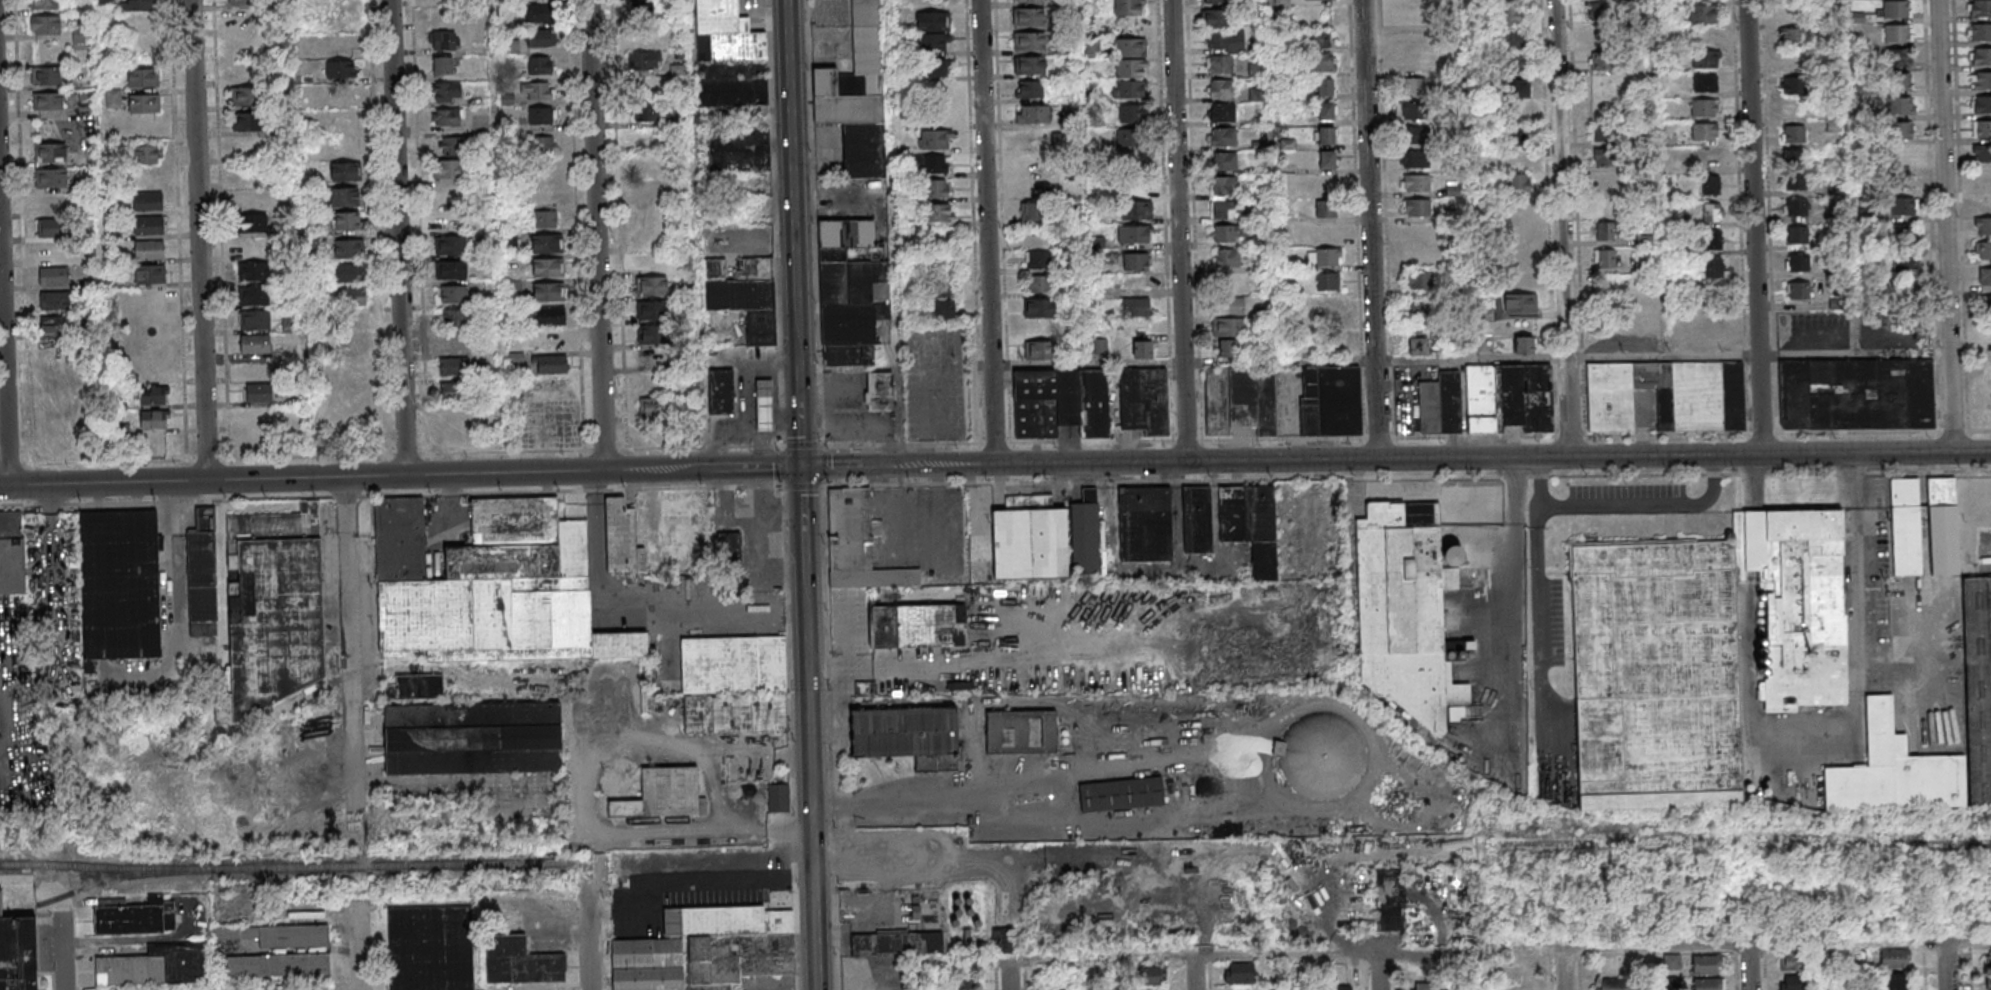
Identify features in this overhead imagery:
building: (1322, 0)
building: (1028, 1)
building: (1513, 1)
building: (105, 2)
building: (247, 2)
building: (1220, 2)
building: (47, 5)
building: (142, 5)
building: (1129, 8)
building: (1982, 9)
building: (1603, 11)
building: (1898, 11)
building: (542, 14)
building: (641, 14)
building: (1708, 15)
building: (1514, 17)
building: (1858, 17)
building: (1030, 18)
building: (1221, 20)
building: (937, 23)
building: (48, 25)
building: (1982, 33)
building: (1899, 35)
building: (1599, 36)
building: (1790, 36)
building: (80, 38)
building: (544, 40)
building: (1321, 40)
building: (1514, 41)
building: (1031, 42)
building: (1229, 42)
building: (446, 43)
building: (939, 44)
building: (511, 46)
building: (1093, 47)
building: (1131, 49)
building: (729, 56)
building: (1984, 58)
building: (644, 60)
building: (1900, 60)
building: (1604, 61)
building: (1707, 61)
building: (1324, 64)
building: (1221, 65)
building: (1031, 66)
building: (1516, 66)
building: (447, 67)
building: (542, 67)
building: (677, 69)
building: (940, 70)
building: (1131, 70)
building: (343, 71)
building: (49, 77)
building: (146, 80)
building: (1985, 82)
building: (1900, 84)
building: (1708, 85)
building: (1792, 85)
building: (1411, 87)
building: (1328, 88)
building: (1223, 89)
building: (1597, 89)
building: (1132, 90)
building: (1517, 90)
building: (1032, 91)
building: (539, 92)
building: (450, 93)
building: (857, 95)
building: (85, 97)
building: (249, 98)
building: (116, 100)
building: (50, 103)
building: (146, 105)
building: (1984, 106)
building: (1901, 108)
building: (1707, 109)
building: (646, 111)
building: (1410, 111)
building: (1329, 113)
building: (1224, 114)
building: (1036, 115)
building: (1133, 115)
building: (544, 117)
building: (451, 118)
building: (251, 124)
building: (1983, 131)
building: (1902, 132)
building: (1604, 133)
building: (1793, 133)
building: (1416, 134)
building: (1708, 134)
building: (1032, 137)
building: (1225, 138)
building: (1329, 138)
building: (1133, 139)
building: (937, 141)
building: (452, 144)
building: (546, 147)
building: (1511, 147)
building: (739, 150)
building: (53, 154)
building: (1984, 155)
building: (149, 156)
building: (1902, 156)
building: (1605, 157)
building: (1416, 159)
building: (1793, 160)
road: (1085, 161)
building: (1225, 162)
building: (1330, 162)
building: (649, 164)
building: (938, 166)
road: (420, 167)
building: (451, 171)
building: (348, 174)
building: (1983, 177)
road: (894, 179)
building: (55, 180)
building: (1902, 180)
building: (1605, 181)
building: (1416, 182)
building: (1518, 182)
building: (1710, 185)
building: (1226, 188)
building: (1135, 189)
building: (938, 190)
building: (348, 199)
building: (1983, 201)
building: (151, 203)
building: (54, 206)
building: (1796, 206)
building: (1417, 207)
building: (1904, 207)
building: (1136, 210)
building: (1329, 210)
building: (1031, 211)
building: (1228, 211)
building: (1712, 212)
building: (939, 214)
building: (548, 220)
building: (352, 222)
road: (1949, 225)
building: (254, 226)
building: (152, 227)
road: (1757, 227)
building: (1985, 227)
road: (379, 228)
road: (1564, 228)
road: (1373, 229)
building: (55, 230)
road: (1181, 230)
building: (1605, 230)
road: (990, 232)
road: (797, 233)
road: (701, 234)
building: (1798, 234)
building: (1906, 234)
road: (600, 235)
road: (500, 236)
building: (1230, 236)
building: (1137, 237)
road: (401, 238)
road: (202, 240)
building: (1711, 240)
building: (549, 245)
building: (251, 247)
building: (454, 248)
building: (352, 251)
building: (1985, 251)
building: (152, 252)
building: (55, 254)
building: (1604, 258)
building: (1330, 259)
building: (1230, 260)
building: (1906, 261)
building: (1040, 262)
building: (1137, 264)
building: (1799, 264)
building: (715, 268)
building: (1712, 268)
building: (549, 270)
building: (454, 271)
building: (255, 273)
building: (353, 274)
building: (153, 276)
building: (57, 277)
building: (1984, 277)
building: (1420, 280)
building: (1331, 283)
building: (1041, 286)
building: (653, 287)
building: (852, 291)
building: (945, 291)
building: (1800, 292)
building: (551, 294)
building: (455, 295)
building: (257, 298)
building: (354, 298)
building: (748, 298)
building: (56, 302)
building: (1987, 303)
building: (1520, 304)
road: (6, 305)
building: (1136, 307)
building: (1232, 307)
building: (1328, 309)
road: (26, 310)
building: (1419, 310)
building: (946, 311)
building: (1041, 311)
building: (654, 312)
building: (553, 318)
building: (457, 319)
building: (258, 322)
building: (355, 323)
building: (289, 324)
building: (58, 327)
building: (1230, 328)
building: (1039, 329)
building: (654, 336)
road: (1825, 339)
building: (1524, 344)
building: (258, 345)
building: (355, 347)
building: (1418, 347)
building: (1143, 349)
building: (1227, 349)
building: (1043, 353)
road: (1972, 353)
road: (1665, 358)
road: (1281, 363)
building: (553, 367)
building: (355, 369)
building: (457, 369)
building: (879, 391)
building: (458, 393)
building: (723, 393)
building: (261, 394)
building: (1857, 394)
building: (1667, 395)
building: (155, 397)
building: (1144, 400)
building: (1240, 400)
building: (1331, 401)
building: (1061, 402)
building: (1488, 403)
building: (1981, 406)
building: (654, 407)
building: (767, 408)
building: (155, 421)
road: (997, 444)
road: (806, 445)
road: (607, 450)
road: (409, 455)
road: (1449, 457)
road: (210, 460)
road: (16, 465)
road: (857, 465)
traffic signals: (806, 466)
road: (741, 467)
road: (338, 477)
road: (1625, 502)
building: (680, 506)
building: (1197, 519)
building: (1145, 524)
building: (1250, 524)
building: (1905, 526)
building: (1943, 526)
building: (1085, 533)
road: (53, 535)
building: (622, 537)
building: (1029, 539)
road: (807, 540)
building: (858, 544)
building: (729, 547)
building: (11, 552)
road: (171, 570)
building: (202, 576)
building: (119, 585)
building: (491, 586)
road: (1850, 590)
road: (1514, 608)
building: (272, 609)
building: (1406, 611)
road: (1537, 611)
road: (631, 615)
building: (917, 626)
building: (1977, 636)
road: (349, 644)
building: (1694, 655)
building: (733, 664)
road: (965, 664)
road: (831, 669)
building: (419, 685)
building: (865, 688)
building: (735, 713)
building: (1021, 732)
building: (907, 735)
building: (472, 737)
building: (1321, 757)
road: (971, 791)
building: (1121, 794)
building: (663, 795)
building: (778, 797)
road: (815, 801)
railway: (370, 863)
road: (717, 880)
railway: (90, 884)
road: (20, 886)
road: (53, 897)
building: (1390, 900)
building: (918, 915)
building: (136, 917)
building: (281, 936)
road: (482, 941)
road: (588, 941)
road: (357, 944)
building: (896, 944)
road: (1778, 944)
building: (428, 949)
building: (707, 949)
road: (62, 951)
building: (18, 954)
road: (1286, 955)
building: (1987, 957)
building: (1894, 958)
building: (1672, 961)
building: (1792, 961)
building: (520, 962)
building: (1705, 964)
road: (1948, 964)
building: (277, 965)
building: (155, 966)
road: (1849, 966)
road: (1750, 967)
road: (1656, 968)
road: (1565, 969)
road: (1926, 969)
road: (1472, 970)
road: (1972, 970)
road: (1382, 971)
road: (1396, 971)
building: (1239, 972)
road: (1287, 972)
road: (1738, 972)
road: (1767, 972)
road: (1192, 973)
road: (1101, 974)
road: (1007, 975)
road: (921, 976)
building: (1148, 976)
road: (1368, 976)
building: (1895, 981)
building: (1988, 981)
building: (965, 983)
building: (1792, 983)
building: (1612, 984)
building: (1708, 984)
building: (1341, 987)
building: (1426, 987)
building: (1051, 989)

